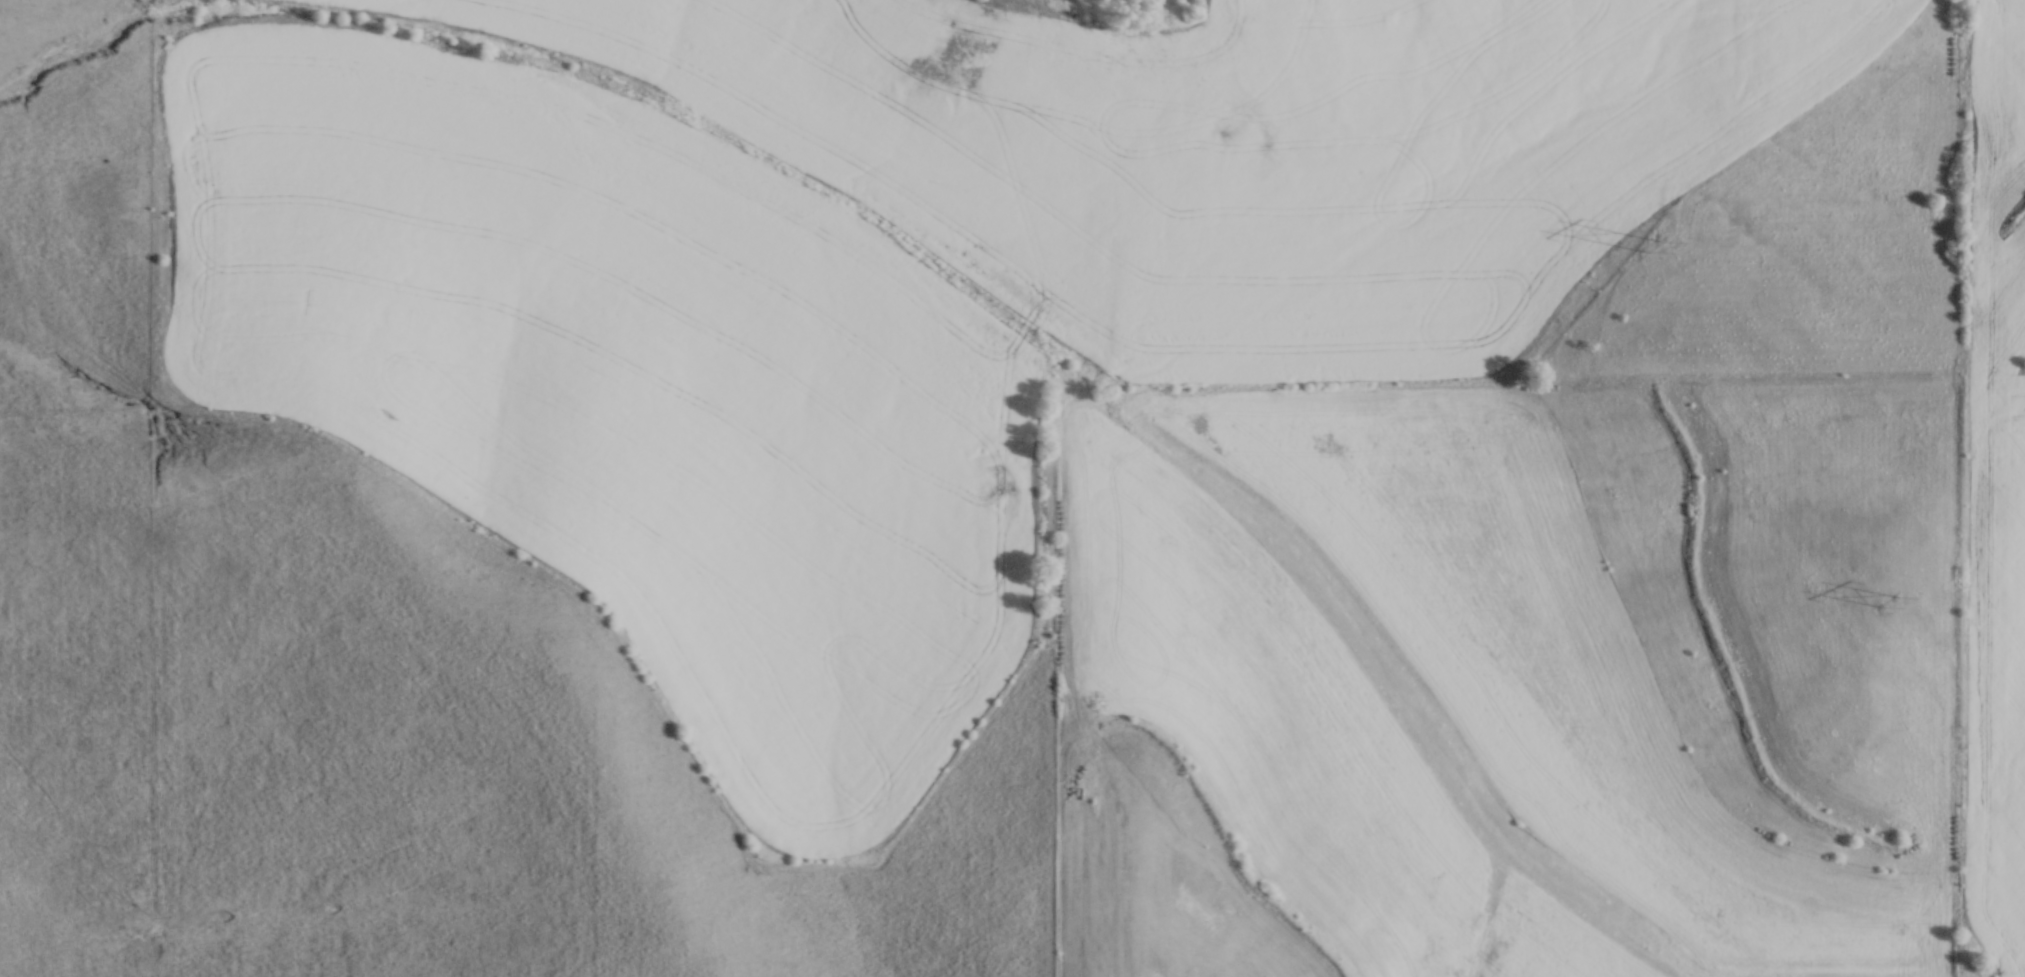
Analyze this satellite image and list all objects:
power tower: (1652, 244)
power tower: (1889, 598)

